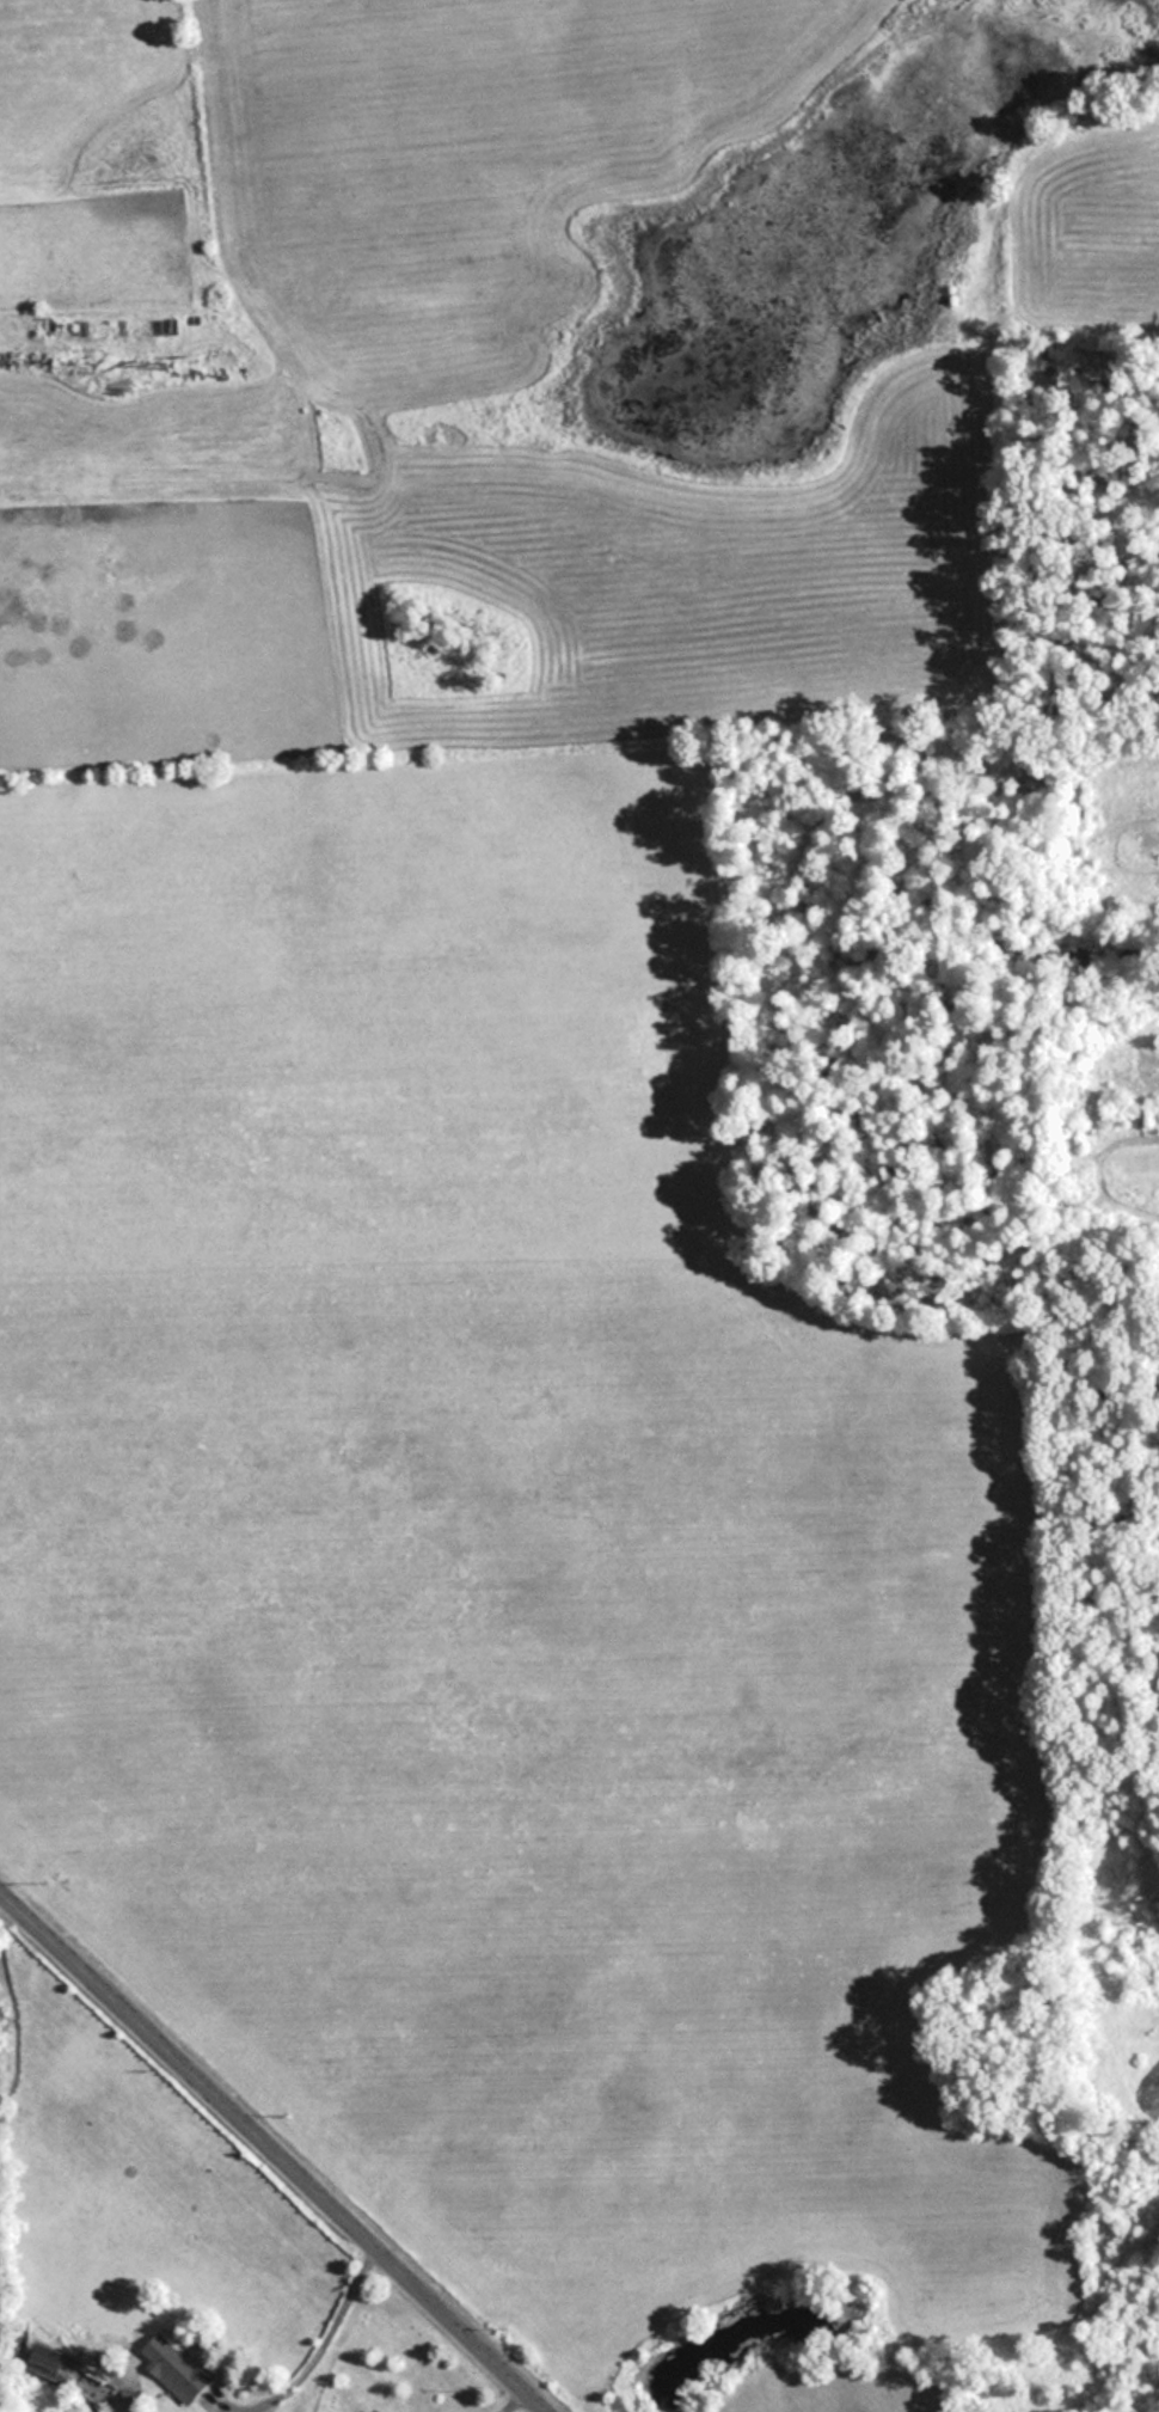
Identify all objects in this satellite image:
road: (282, 2144)
road: (318, 2328)
building: (41, 2362)
building: (178, 2365)
road: (508, 2395)

